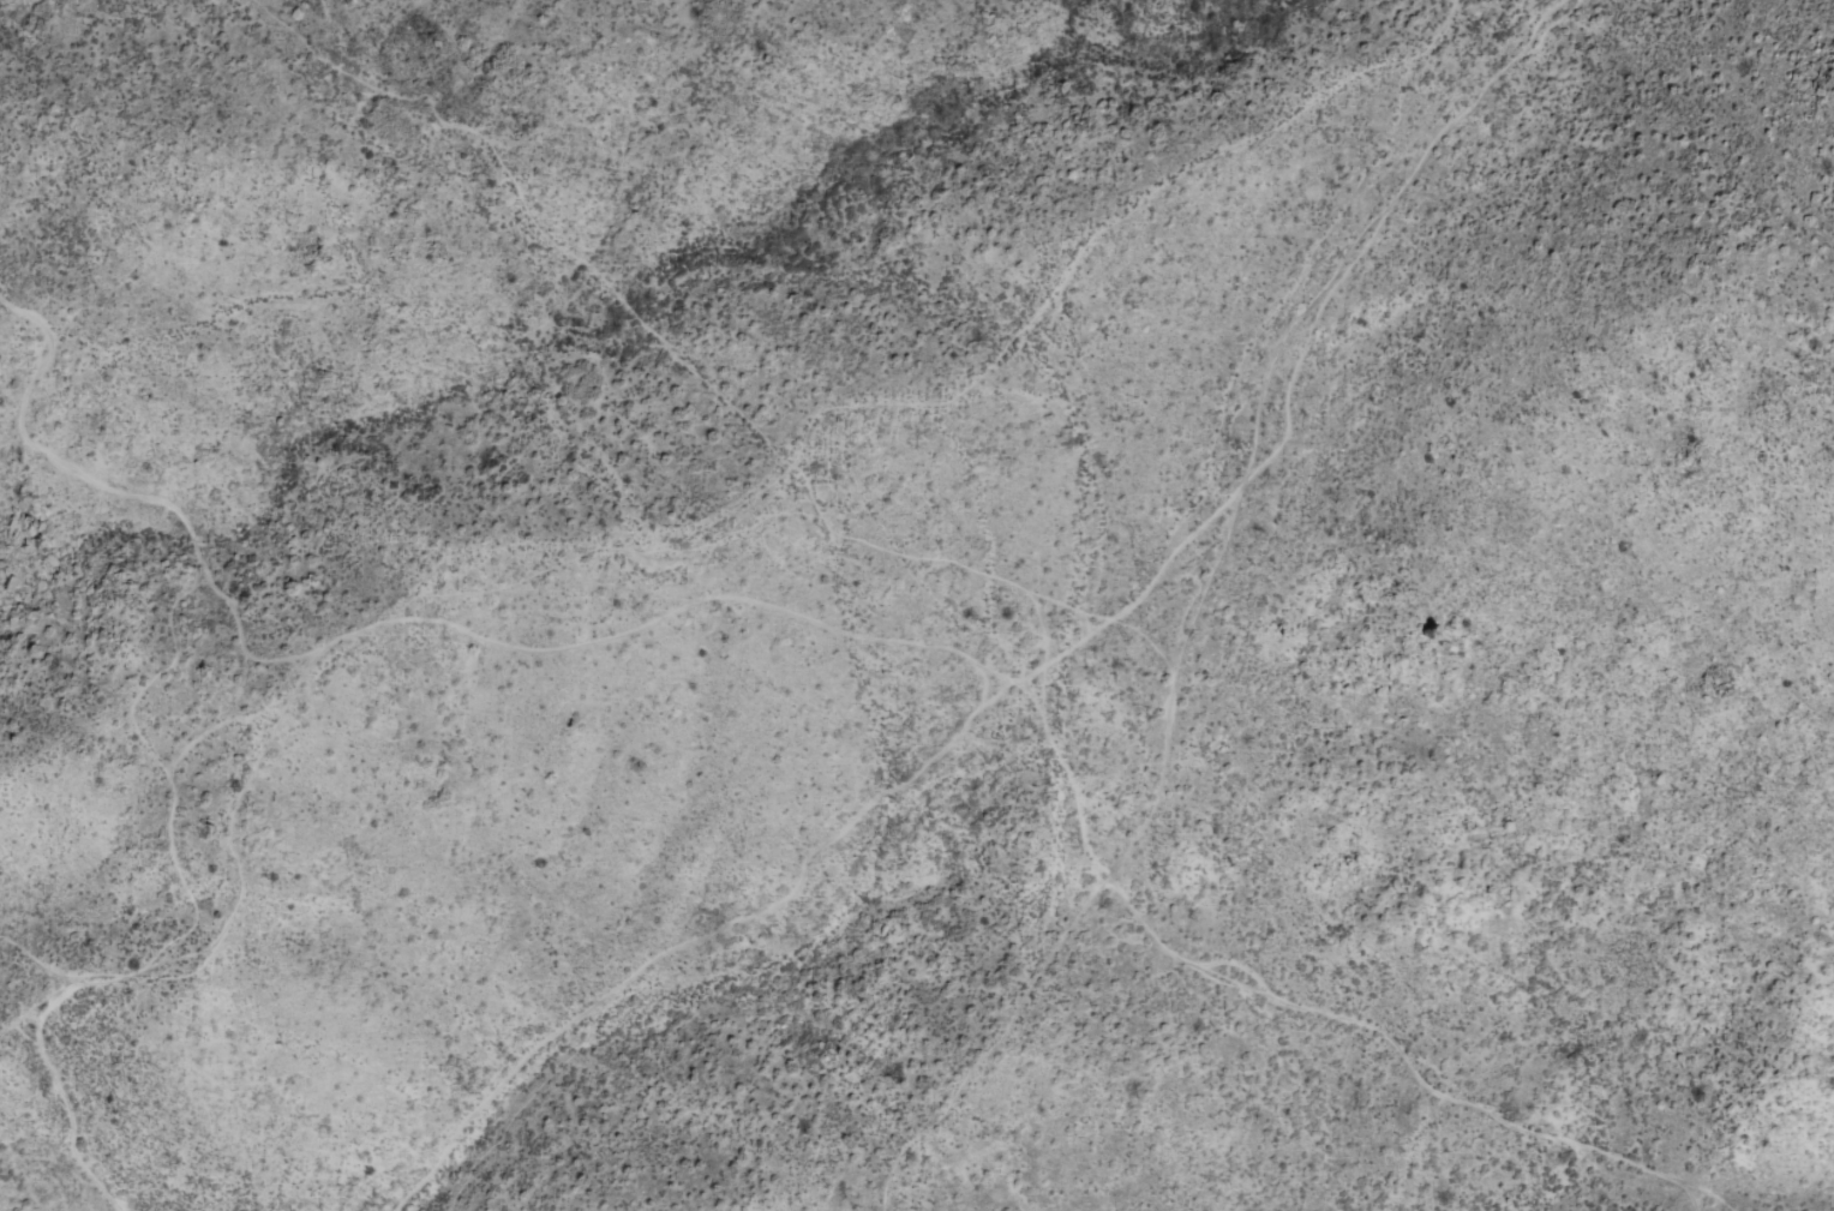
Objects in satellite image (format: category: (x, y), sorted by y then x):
road: (1045, 659)
road: (296, 702)
road: (58, 966)

